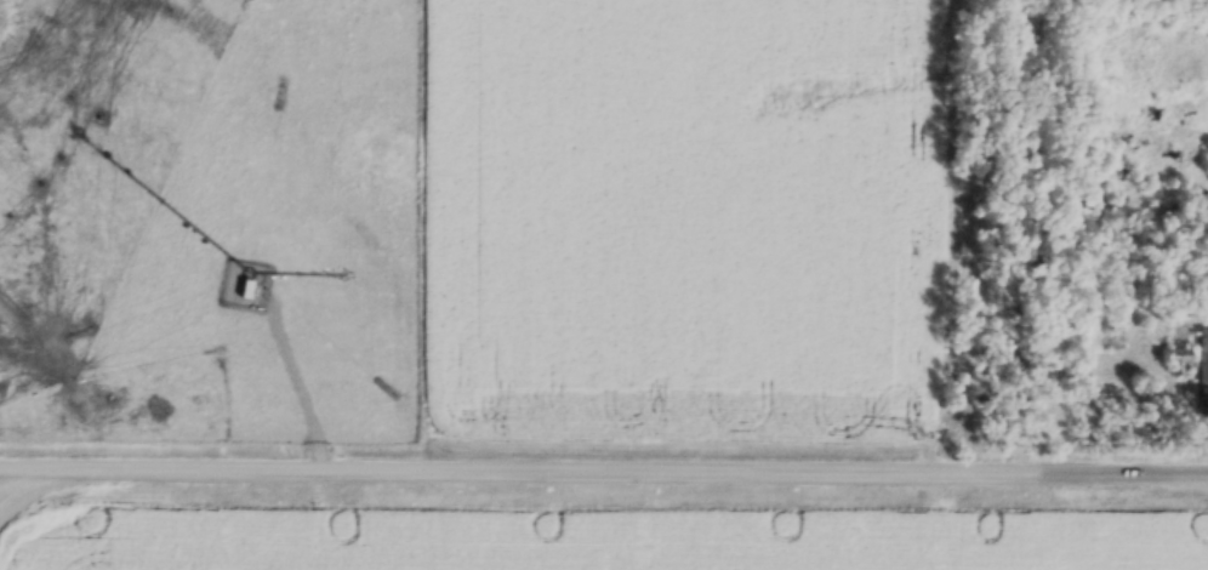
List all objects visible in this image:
building: (1207, 165)
building: (1203, 360)
road: (304, 378)
road: (603, 471)

